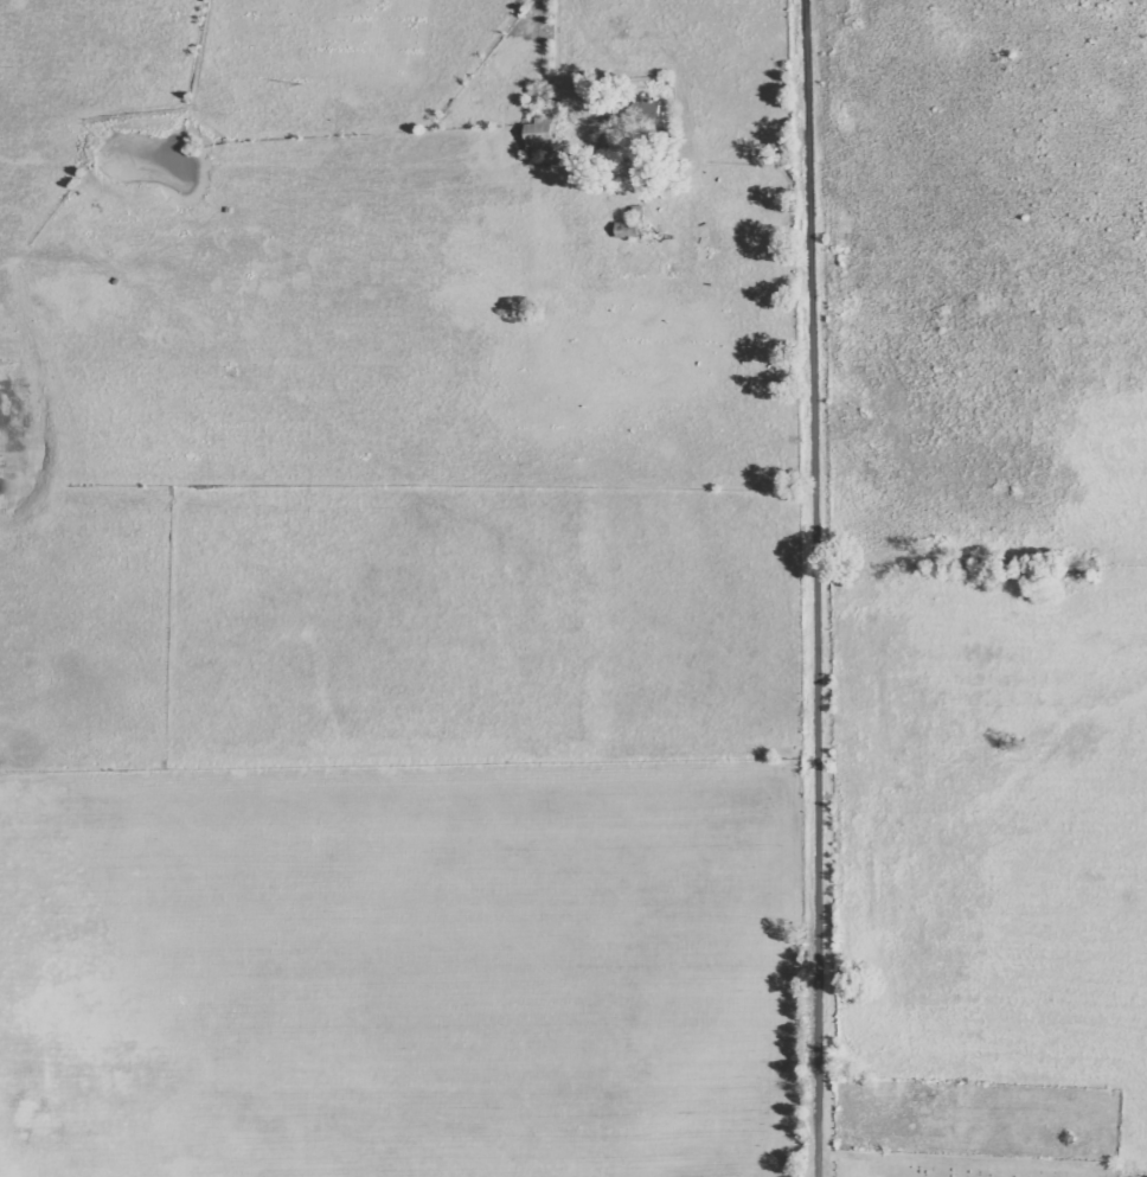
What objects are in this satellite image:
building: (540, 137)
road: (818, 588)
park: (975, 1130)

